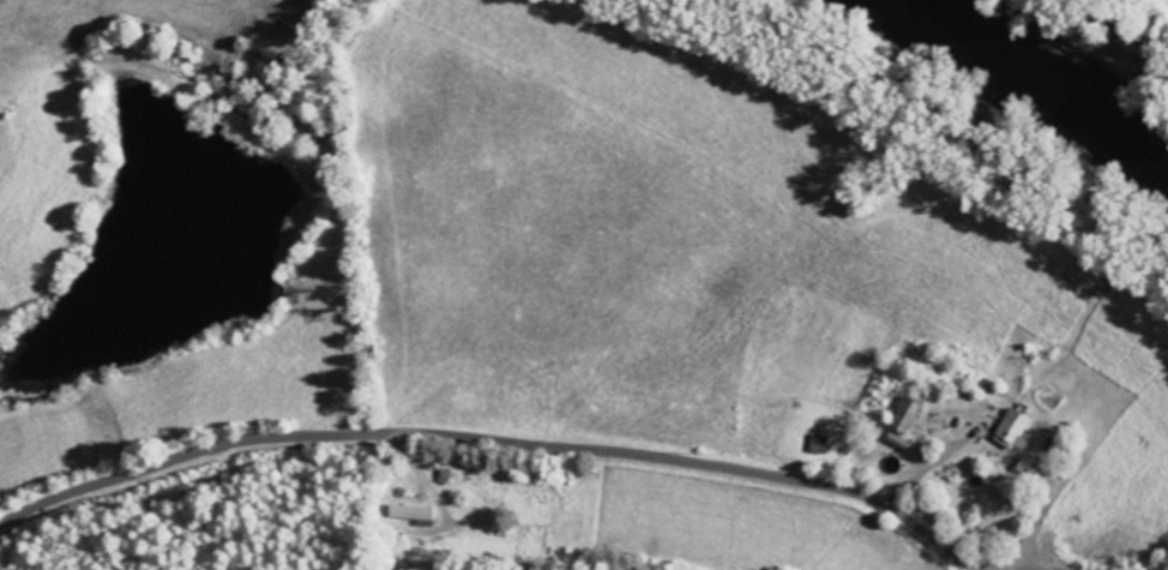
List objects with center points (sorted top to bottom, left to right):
river: (1041, 70)
building: (907, 415)
building: (1013, 431)
road: (501, 442)
building: (899, 443)
building: (817, 445)
building: (413, 515)

